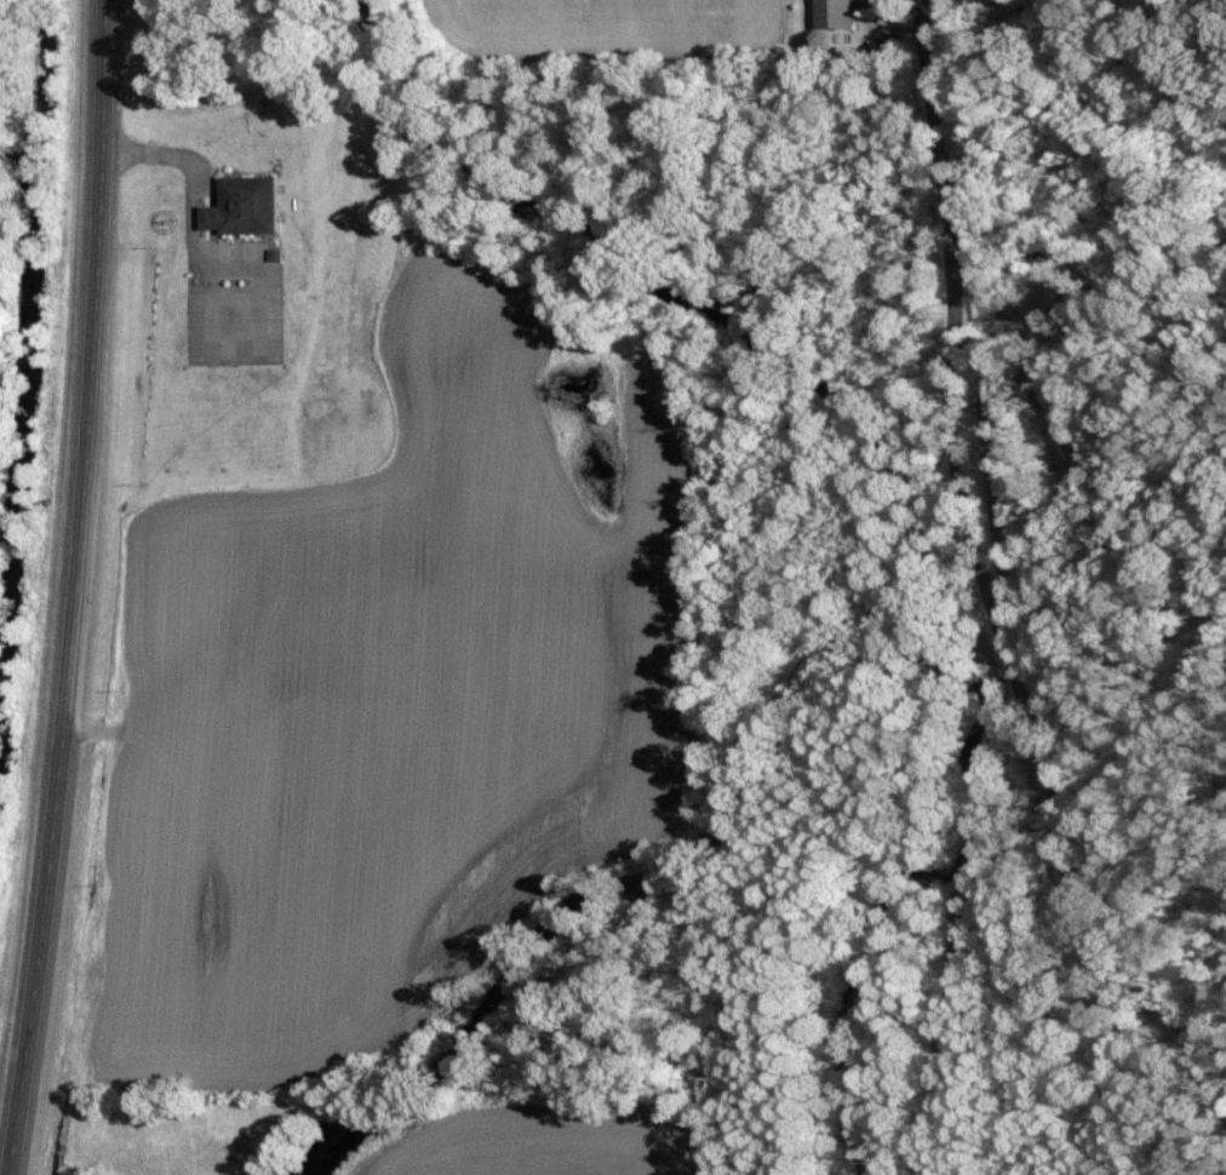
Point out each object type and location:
building: (836, 13)
road: (924, 16)
building: (248, 206)
road: (989, 587)
road: (76, 589)

